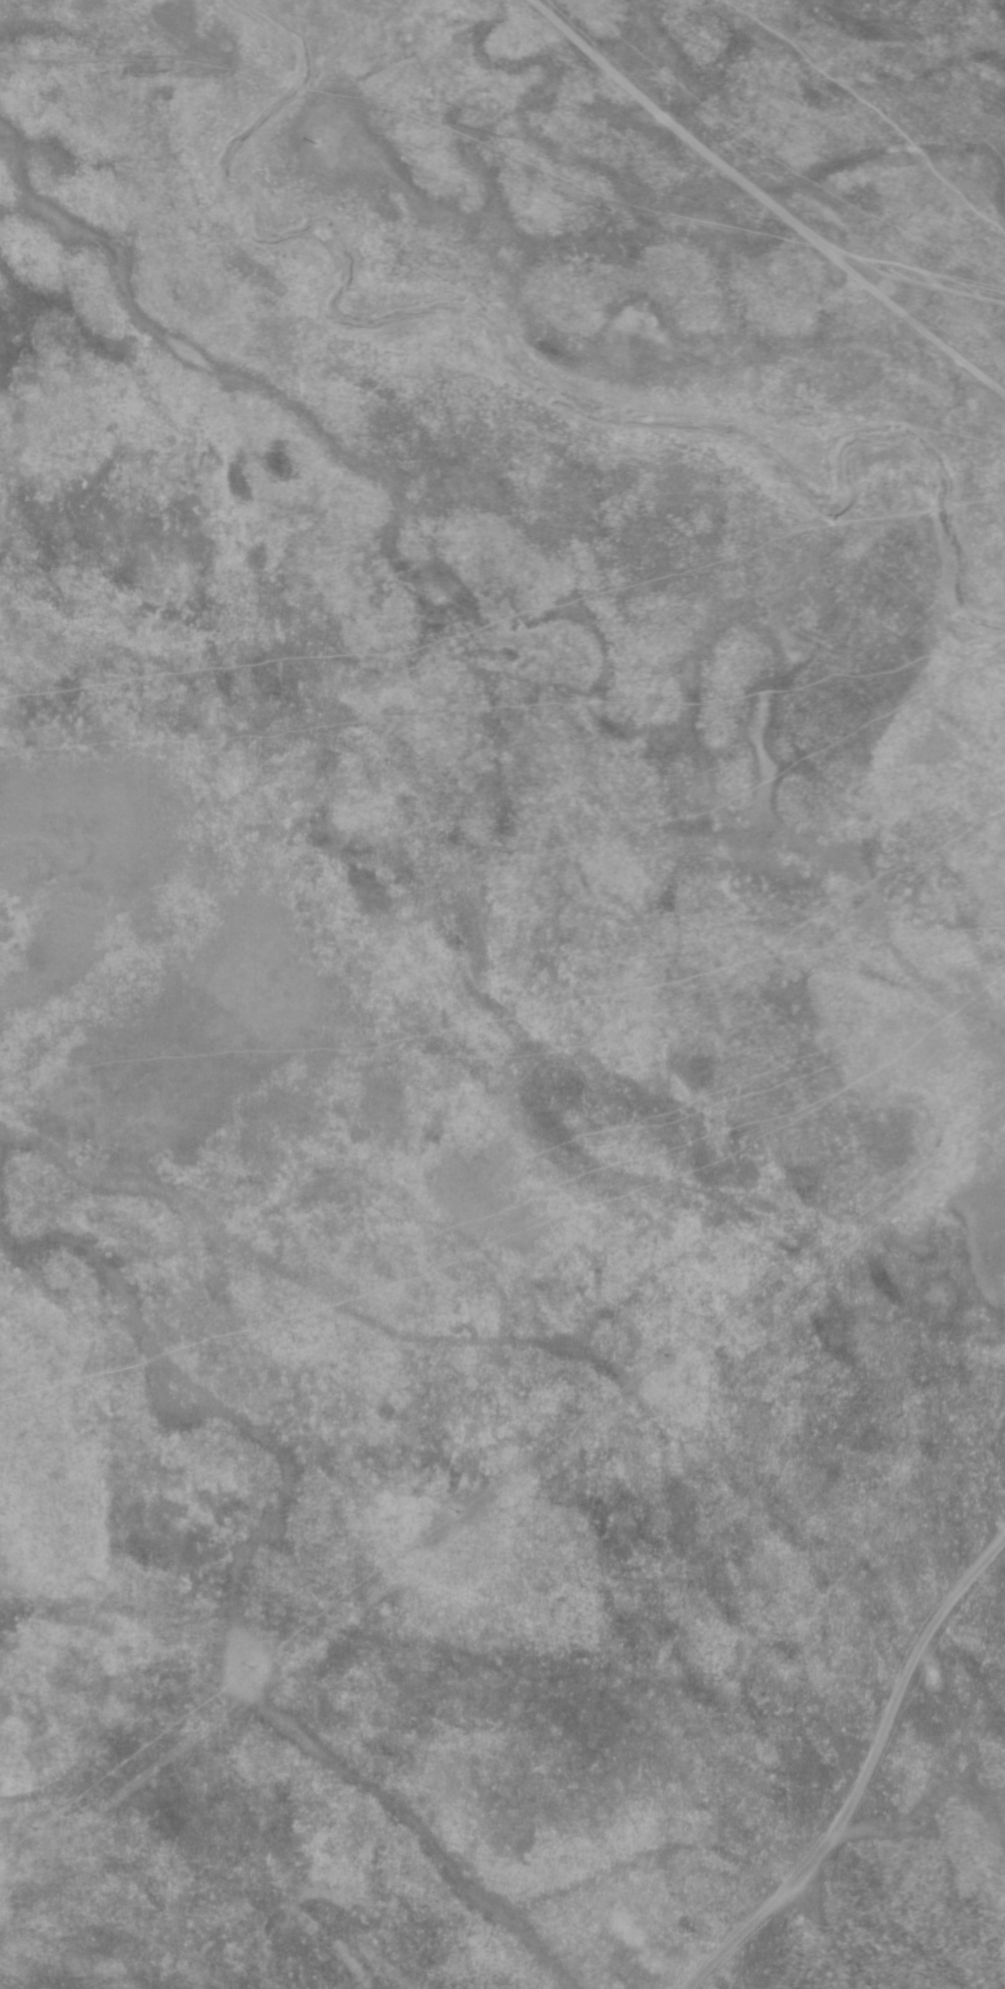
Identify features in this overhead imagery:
road: (859, 1798)

